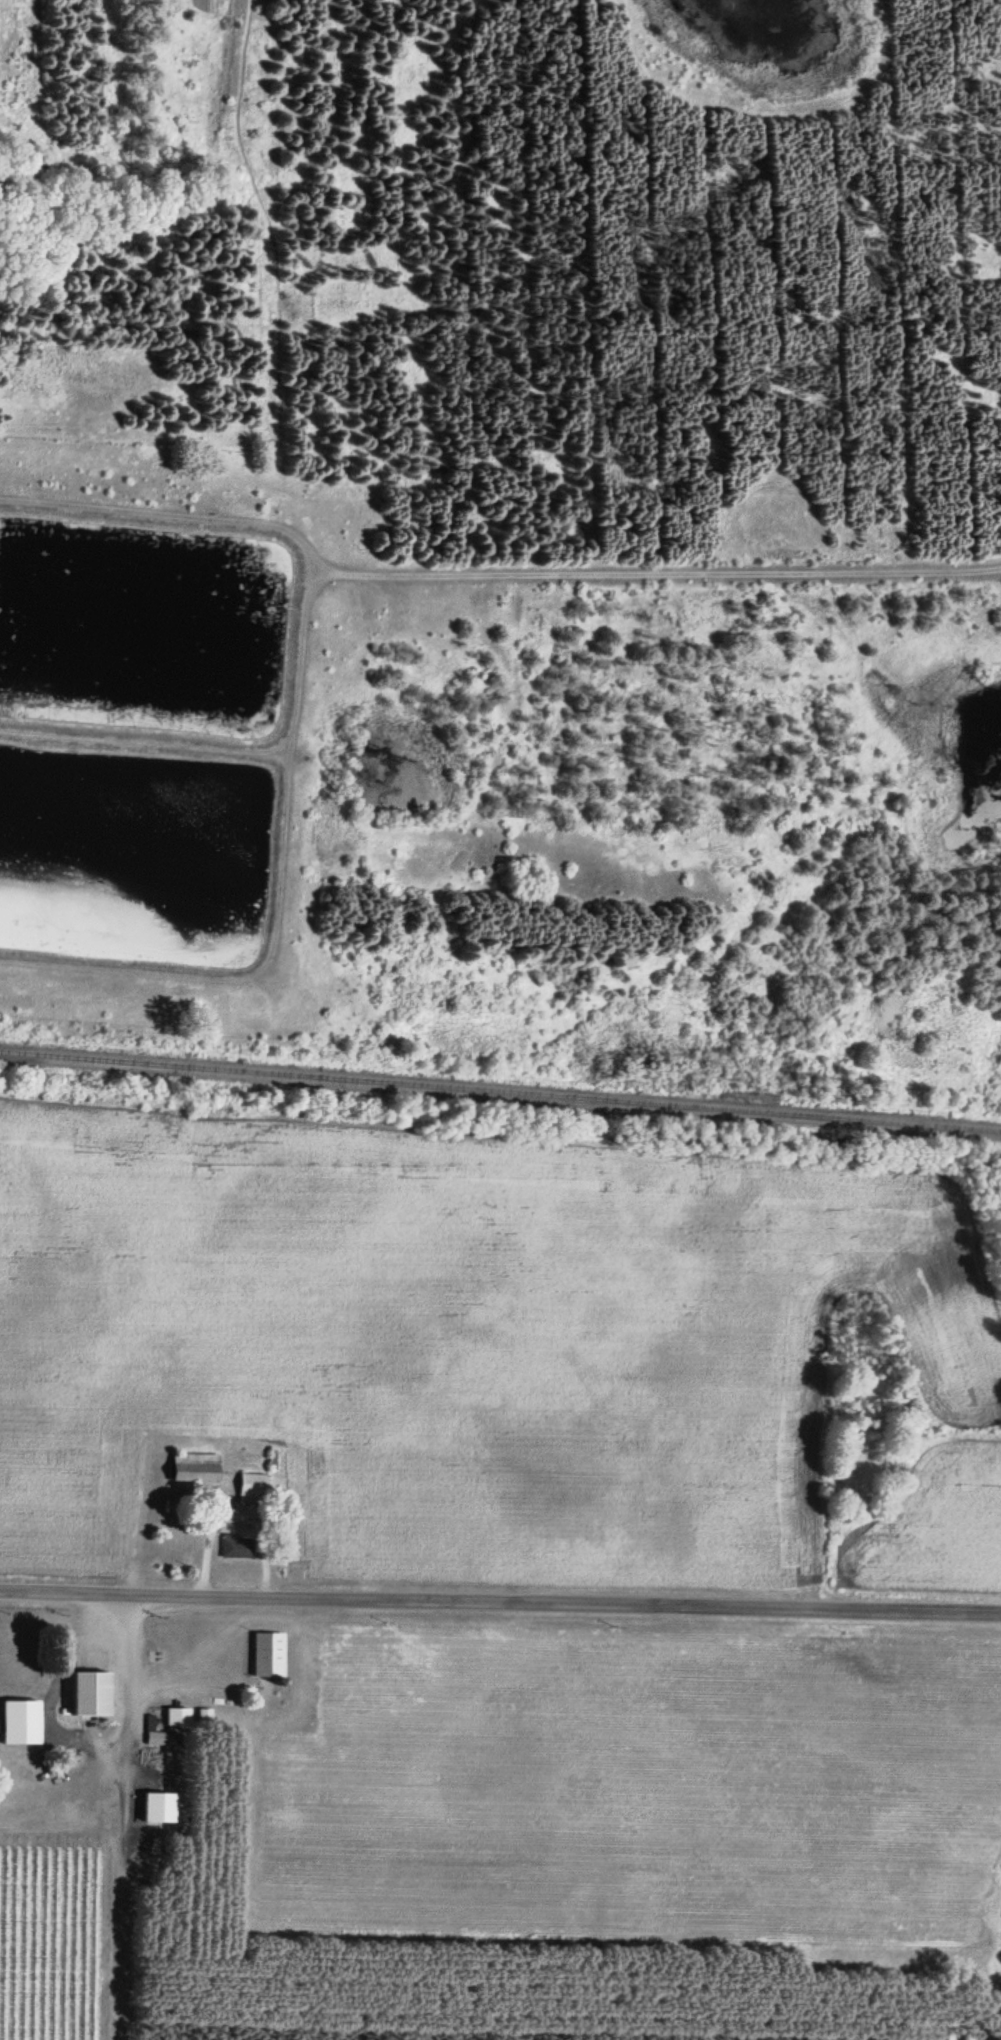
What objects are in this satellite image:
wastewater plant: (161, 727)
railway: (500, 1087)
building: (220, 1478)
building: (238, 1546)
road: (500, 1596)
building: (270, 1654)
building: (96, 1692)
building: (179, 1716)
building: (161, 1735)

